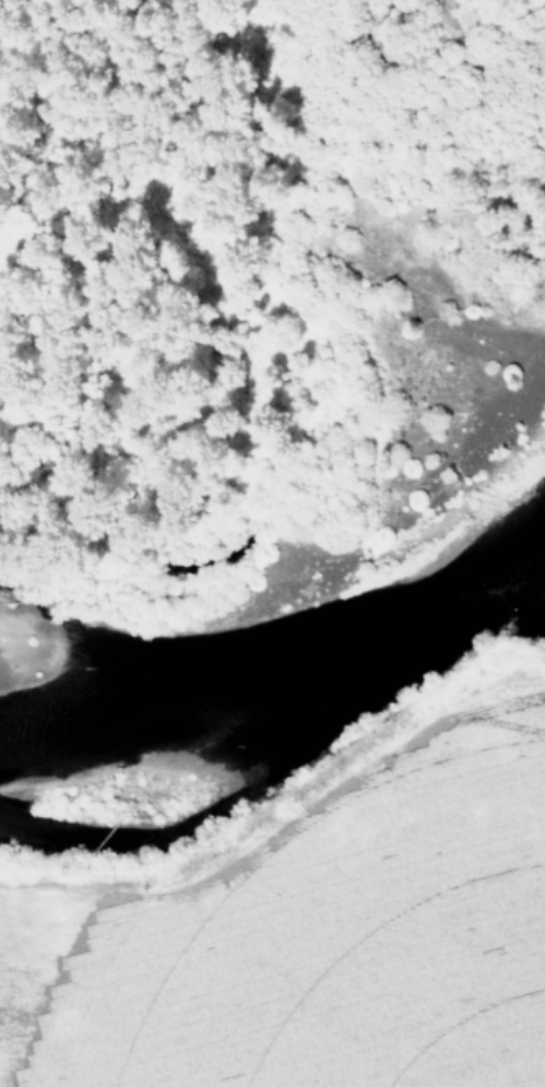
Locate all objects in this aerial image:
river: (282, 682)
crop: (305, 929)

